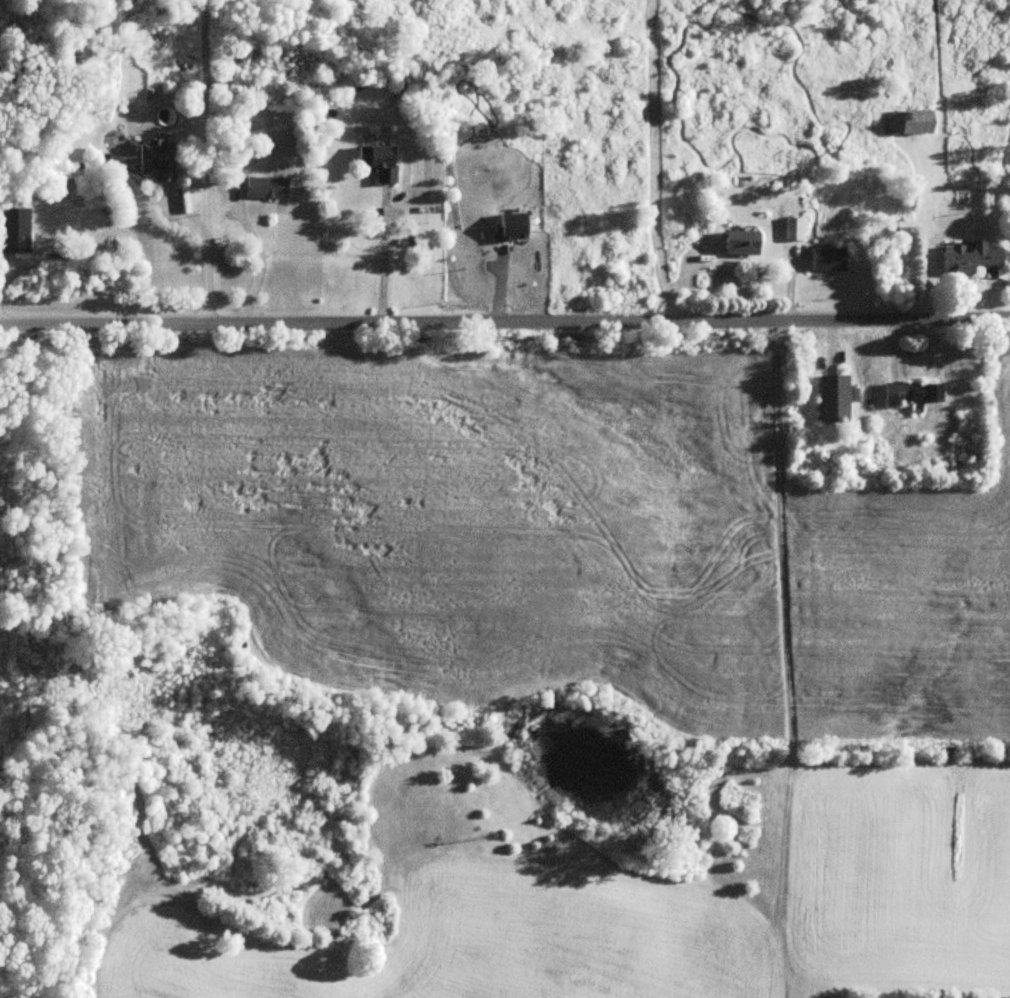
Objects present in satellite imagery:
building: (906, 122)
building: (154, 160)
building: (375, 162)
building: (56, 185)
building: (263, 189)
building: (792, 229)
building: (15, 230)
building: (737, 243)
road: (203, 256)
road: (378, 257)
building: (826, 260)
building: (966, 260)
road: (260, 265)
road: (504, 320)
building: (909, 395)
building: (830, 399)
crop: (467, 942)

